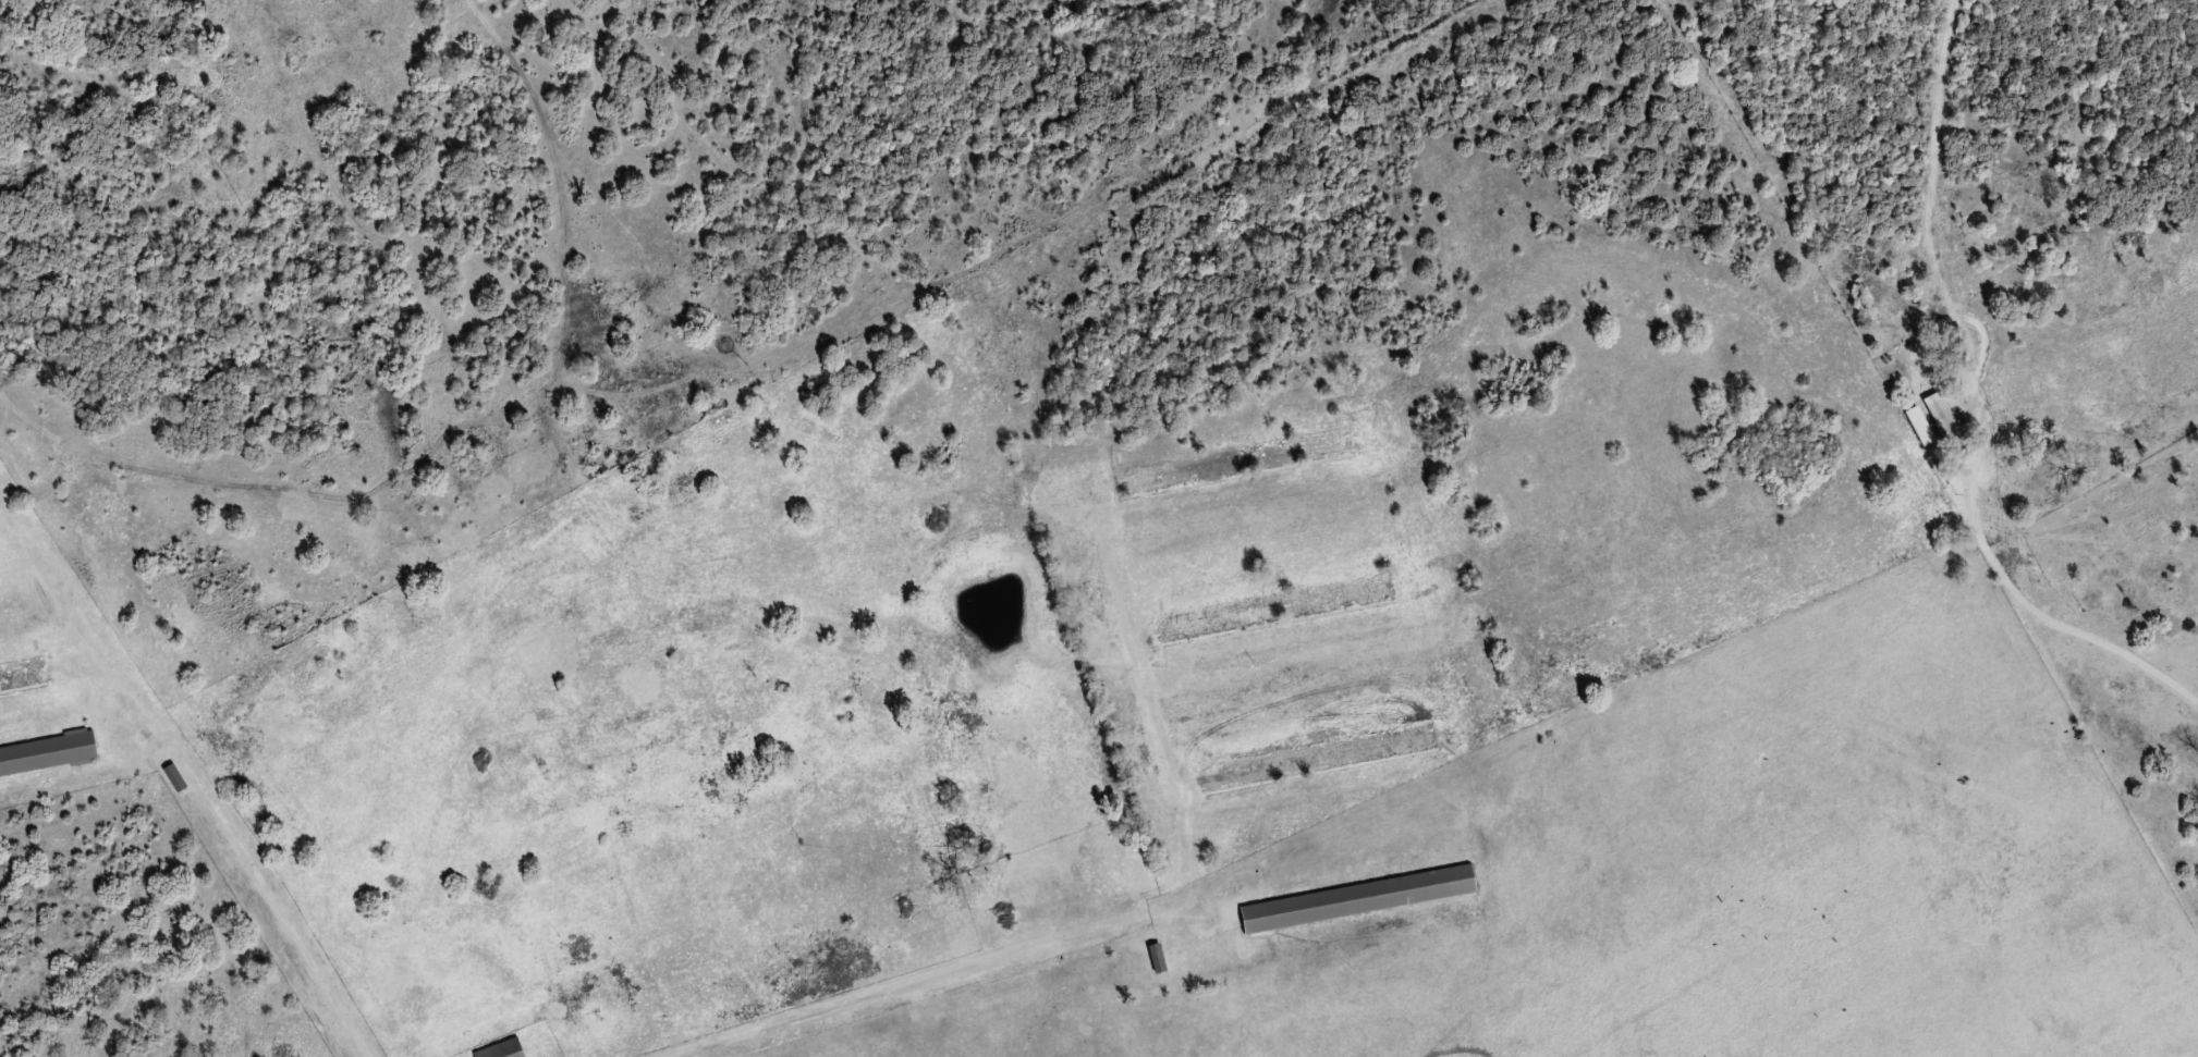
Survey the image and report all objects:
building: (1942, 418)
building: (1220, 474)
building: (1162, 484)
building: (1237, 625)
building: (48, 754)
road: (179, 774)
building: (175, 777)
building: (1031, 880)
building: (1358, 898)
building: (1157, 957)
building: (502, 1049)

